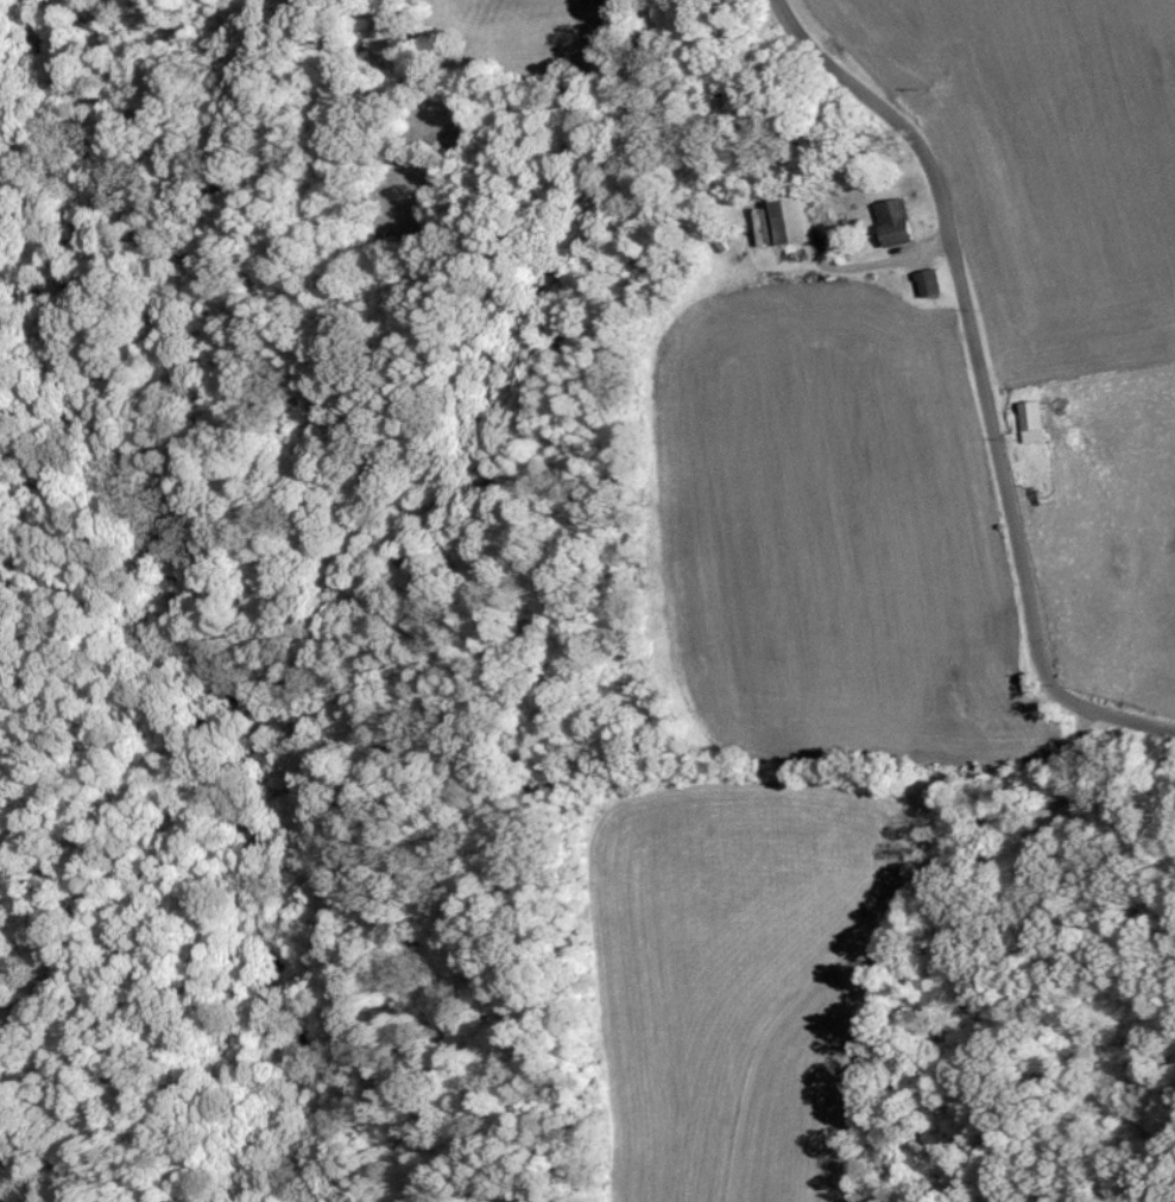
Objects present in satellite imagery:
building: (890, 221)
road: (886, 272)
building: (927, 280)
road: (984, 385)
building: (1030, 420)
road: (890, 934)

